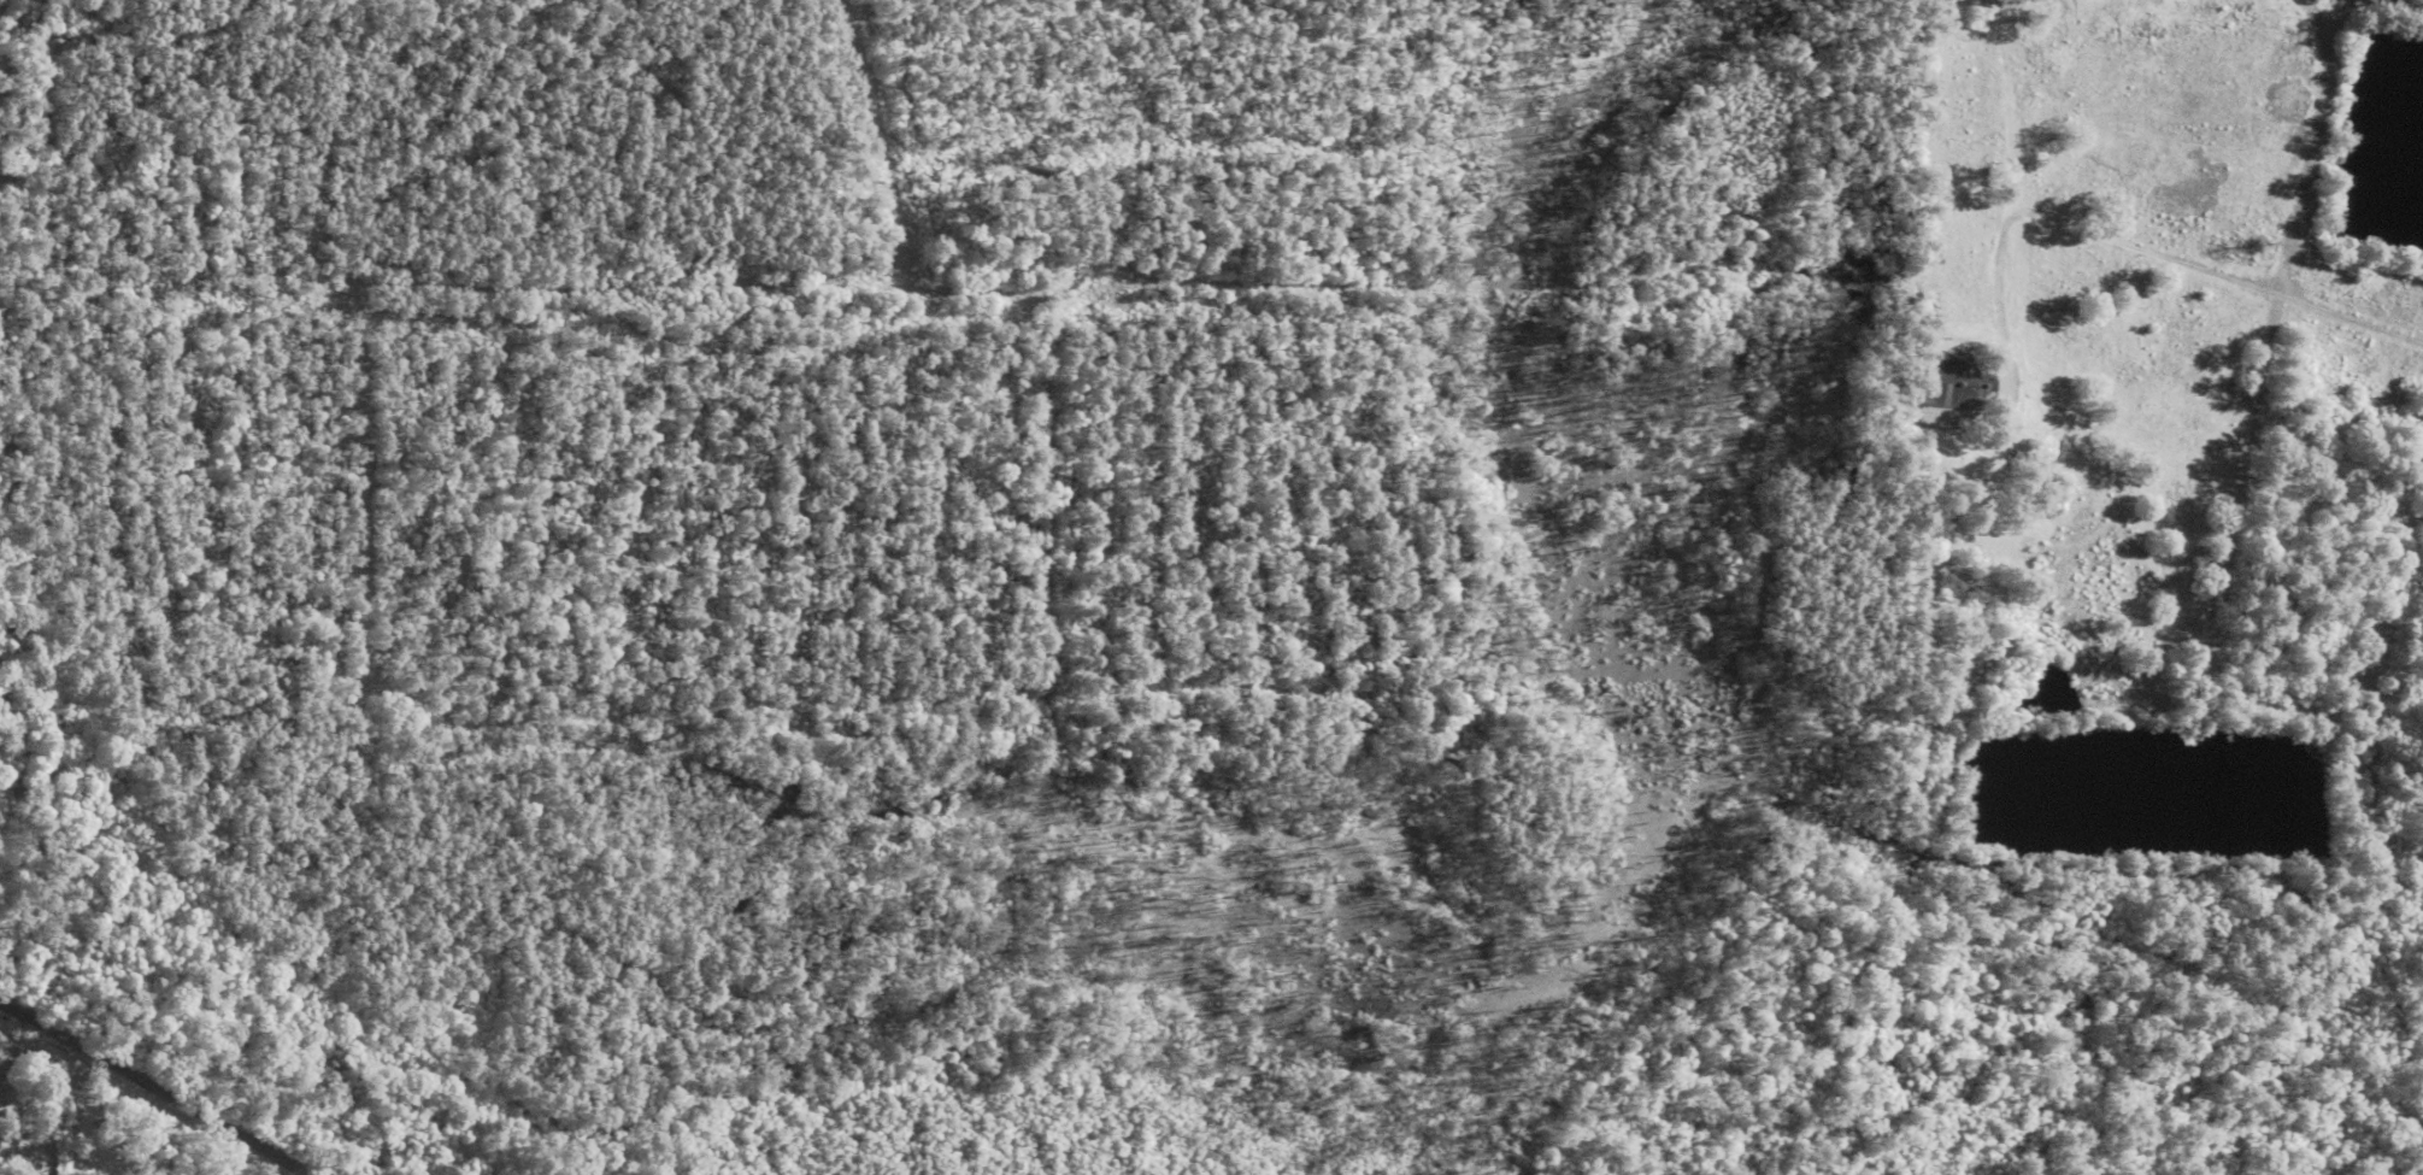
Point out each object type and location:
road: (2112, 252)
road: (158, 1083)

